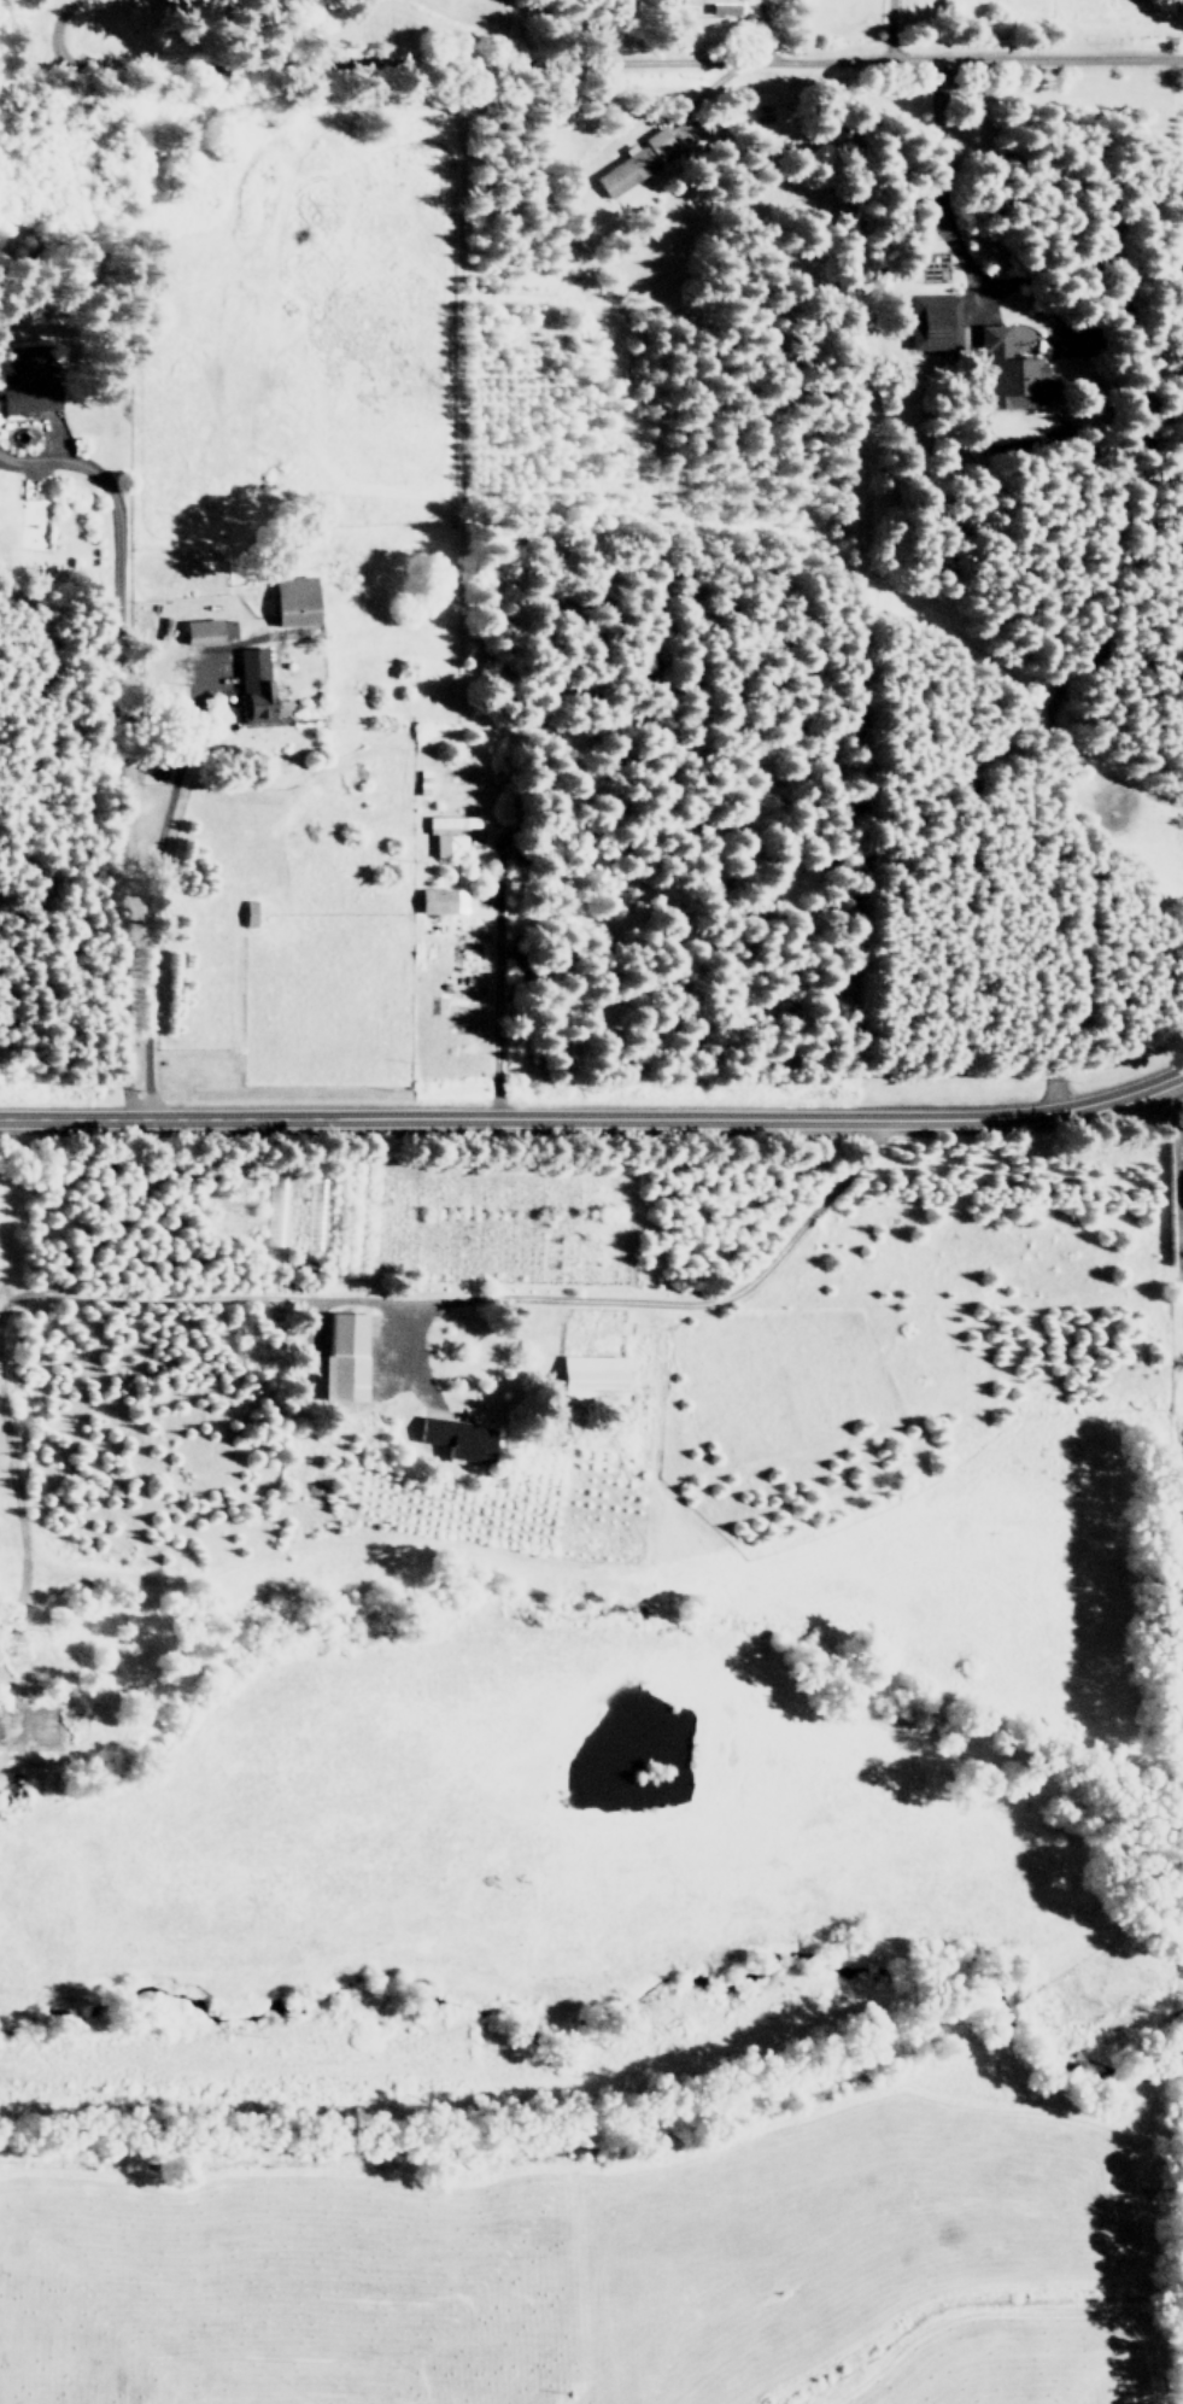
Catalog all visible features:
building: (719, 6)
road: (948, 27)
road: (880, 57)
building: (633, 163)
building: (933, 321)
building: (1076, 341)
building: (1015, 373)
building: (27, 385)
building: (298, 601)
building: (211, 630)
building: (256, 683)
road: (115, 744)
building: (451, 833)
building: (438, 900)
road: (1172, 1094)
road: (595, 1116)
building: (275, 1211)
road: (480, 1298)
building: (346, 1357)
building: (461, 1438)
road: (18, 1516)

